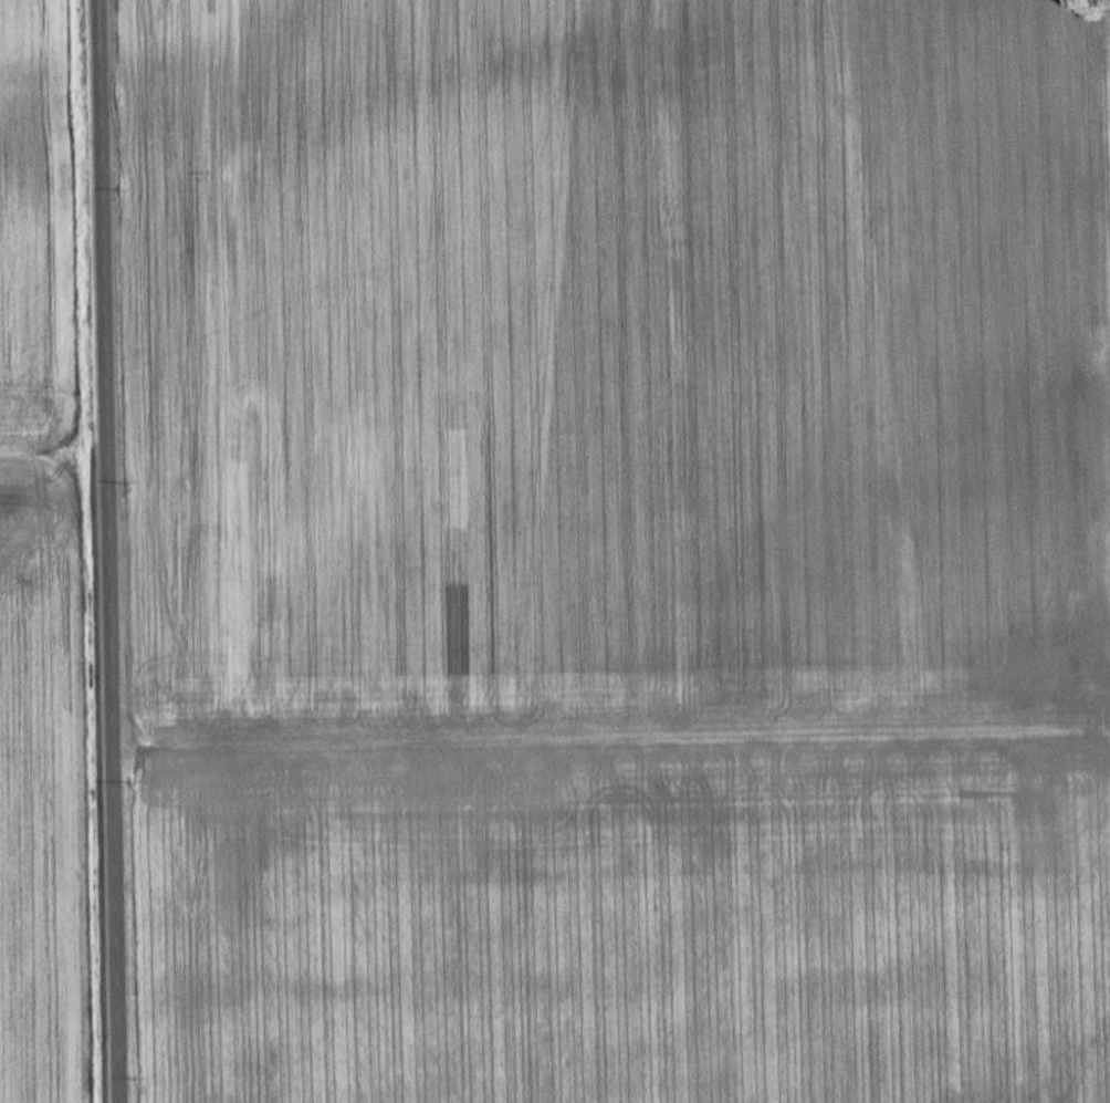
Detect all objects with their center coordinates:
crop: (32, 242)
road: (105, 551)
crop: (624, 551)
crop: (40, 792)

